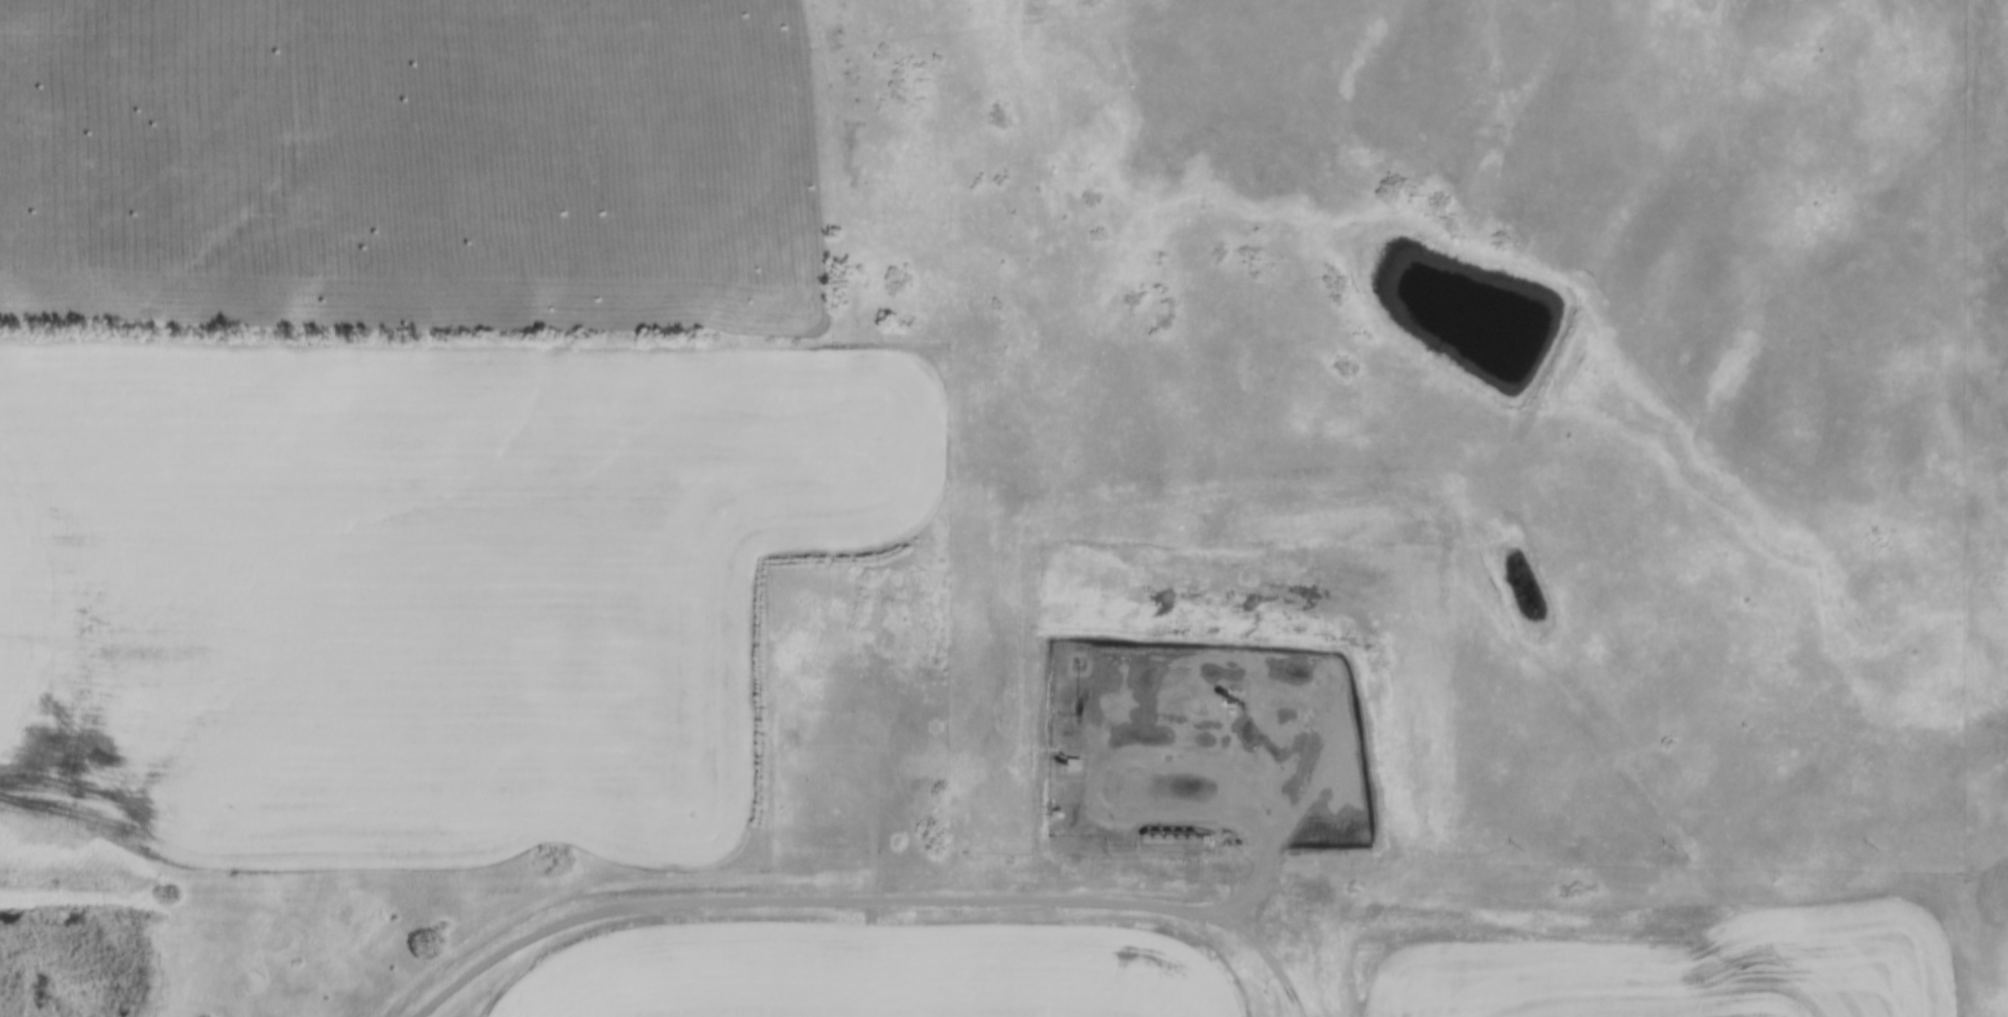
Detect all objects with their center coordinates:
road: (841, 898)
road: (1284, 997)

